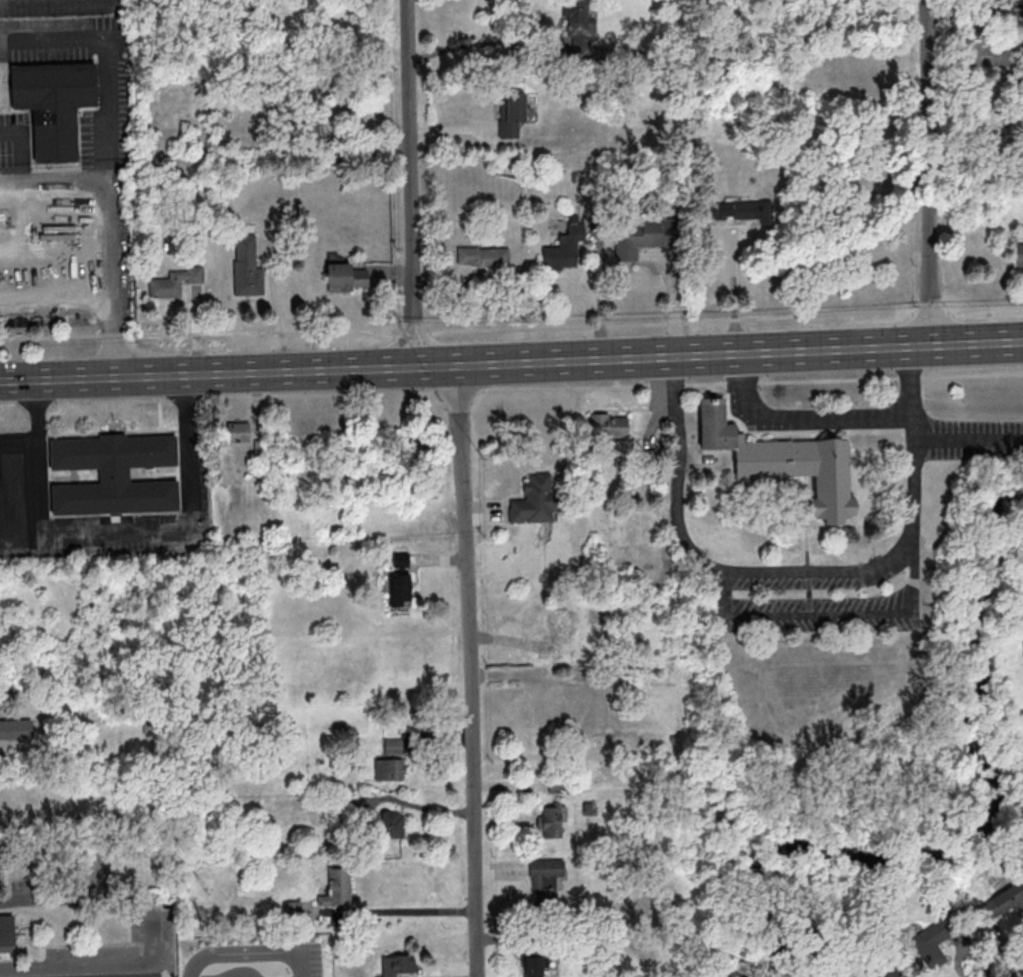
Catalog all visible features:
building: (580, 26)
road: (486, 40)
building: (54, 104)
building: (512, 114)
road: (113, 122)
road: (928, 173)
road: (412, 183)
building: (752, 211)
building: (642, 237)
building: (564, 249)
road: (734, 253)
building: (1018, 255)
building: (483, 256)
building: (247, 266)
building: (24, 268)
building: (346, 277)
building: (175, 282)
road: (598, 296)
road: (93, 306)
road: (985, 310)
road: (929, 312)
road: (994, 315)
road: (671, 322)
road: (197, 332)
road: (995, 332)
road: (412, 334)
road: (717, 354)
road: (206, 374)
road: (971, 374)
road: (413, 377)
road: (908, 377)
road: (828, 380)
road: (741, 382)
road: (705, 384)
road: (667, 385)
road: (563, 388)
road: (414, 390)
road: (455, 390)
road: (243, 397)
road: (9, 400)
road: (35, 400)
road: (801, 417)
building: (609, 424)
building: (238, 431)
road: (968, 440)
road: (913, 445)
road: (17, 452)
building: (784, 461)
building: (114, 474)
building: (534, 500)
road: (109, 534)
road: (19, 538)
road: (705, 560)
building: (400, 574)
road: (830, 615)
building: (561, 632)
road: (467, 670)
building: (16, 729)
building: (393, 746)
building: (390, 769)
building: (552, 819)
building: (392, 824)
building: (0, 869)
building: (545, 878)
building: (337, 887)
road: (45, 895)
road: (411, 911)
building: (7, 933)
building: (932, 946)
road: (1005, 949)
road: (246, 953)
road: (104, 962)
building: (538, 963)
building: (399, 965)
road: (240, 976)

